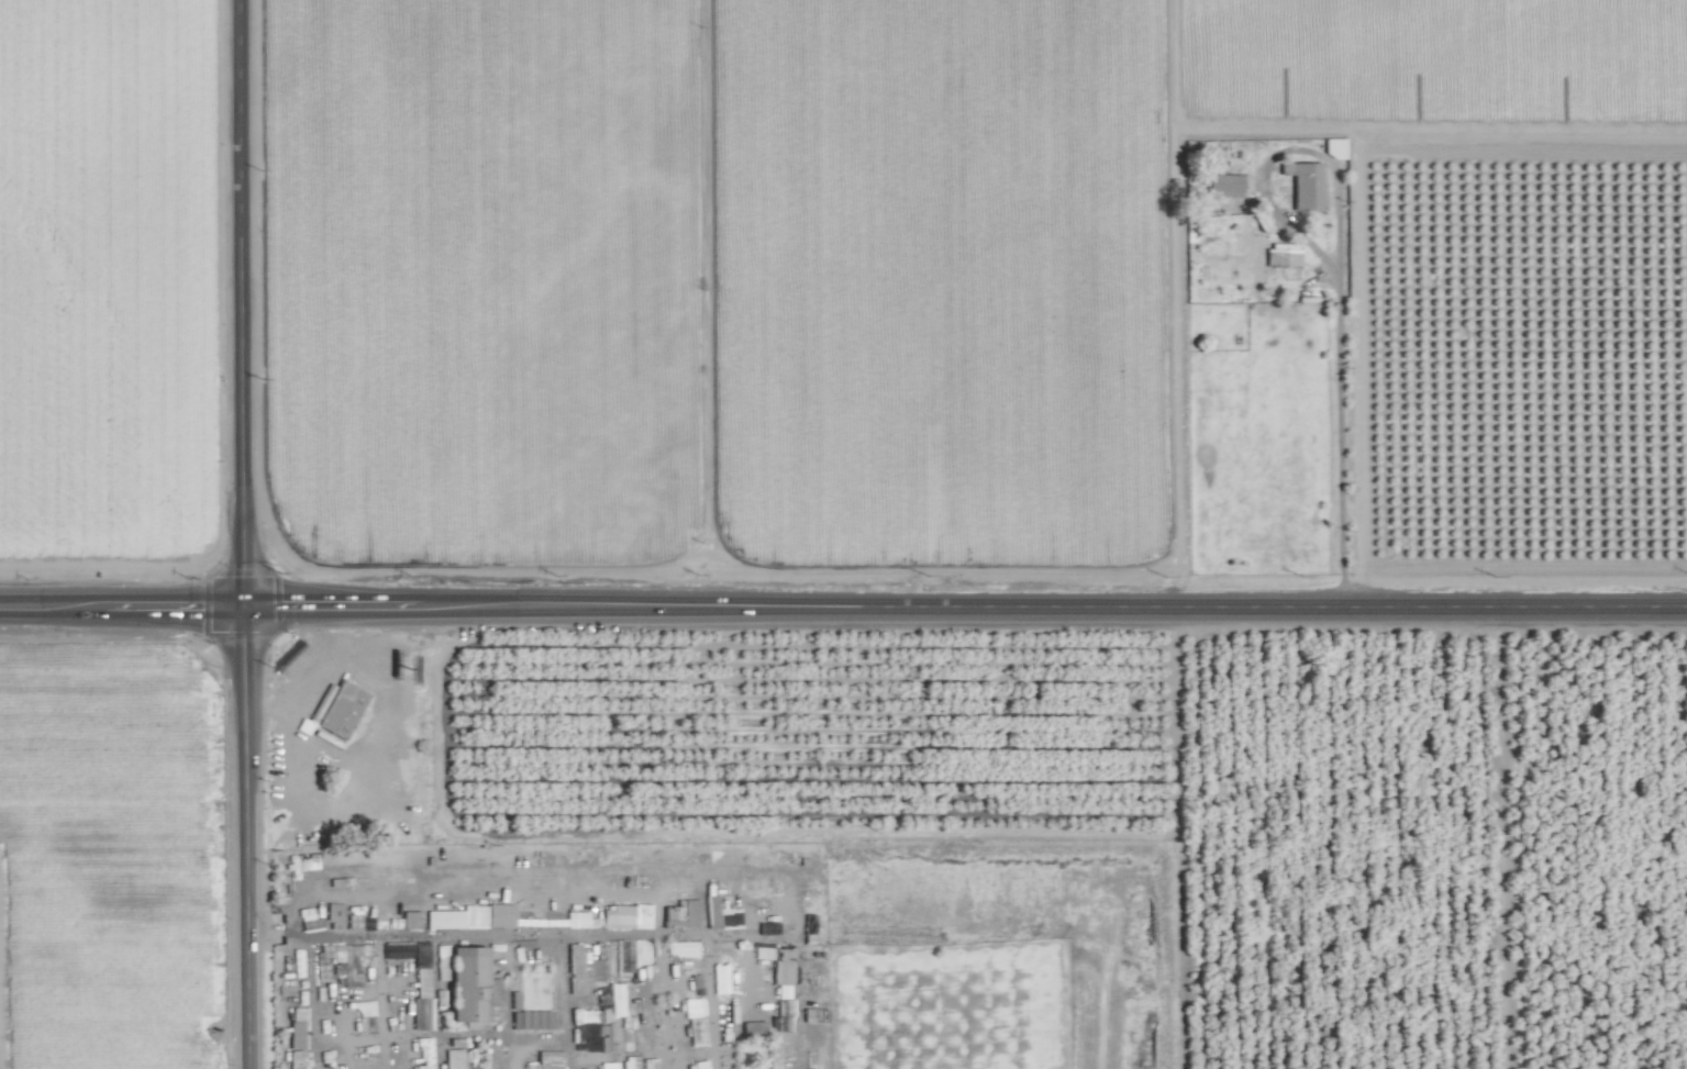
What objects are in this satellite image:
road: (1430, 127)
building: (1227, 185)
building: (1299, 187)
building: (1217, 242)
building: (1283, 259)
building: (1230, 269)
road: (238, 303)
road: (704, 303)
road: (1176, 303)
road: (1339, 360)
road: (1362, 367)
crop: (843, 534)
road: (121, 606)
traffic signals: (243, 608)
road: (965, 608)
building: (341, 709)
road: (245, 838)
building: (689, 911)
building: (717, 911)
building: (510, 916)
building: (614, 916)
building: (410, 918)
building: (808, 923)
building: (679, 946)
building: (420, 954)
building: (781, 965)
building: (597, 969)
building: (624, 978)
building: (720, 979)
building: (422, 998)
building: (812, 1033)
building: (786, 1048)
building: (453, 1058)

